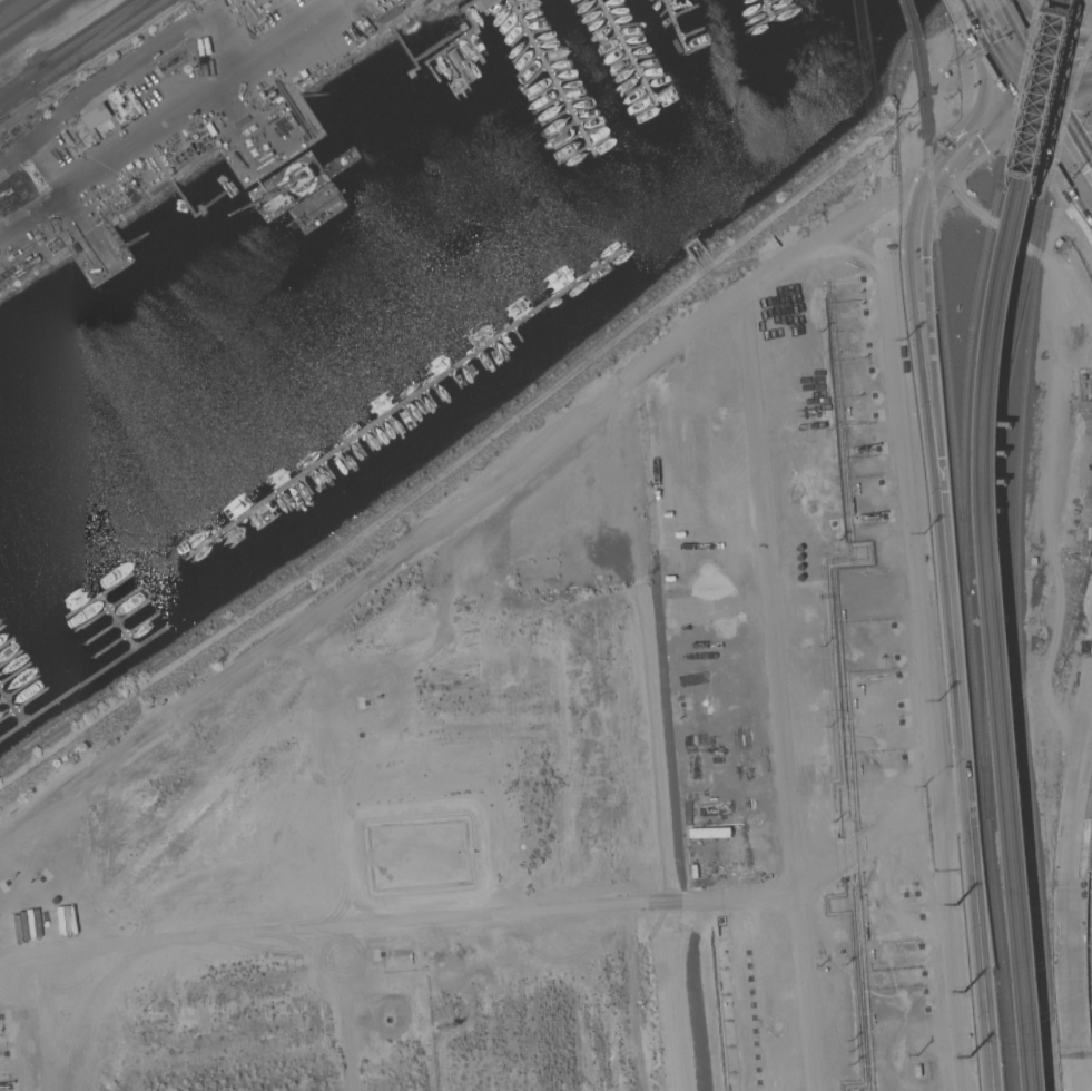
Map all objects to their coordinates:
building: (484, 3)
road: (987, 7)
railway: (26, 17)
railway: (913, 19)
road: (285, 35)
railway: (96, 43)
railway: (69, 45)
railway: (87, 45)
road: (1013, 51)
building: (455, 57)
road: (117, 66)
road: (1086, 66)
road: (1056, 80)
traffic signals: (1033, 92)
railway: (16, 97)
building: (98, 117)
road: (1068, 124)
road: (116, 149)
road: (1051, 174)
building: (1059, 242)
railway: (980, 283)
railway: (944, 305)
railway: (990, 512)
railway: (984, 542)
railway: (997, 542)
railway: (1019, 560)
building: (1033, 561)
road: (946, 568)
road: (766, 586)
road: (1068, 783)
road: (882, 827)
road: (1076, 830)
railway: (990, 832)
road: (1071, 1005)
building: (917, 1070)

